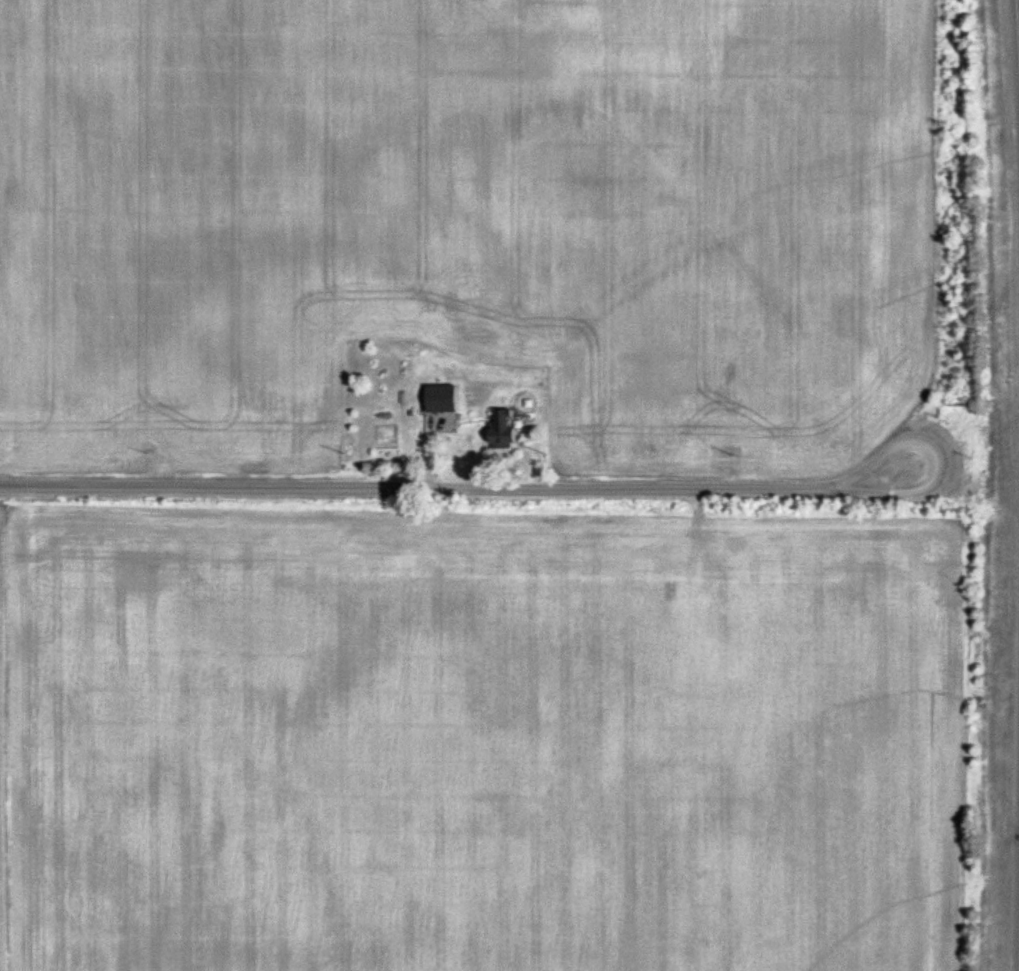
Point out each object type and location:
building: (441, 398)
building: (501, 429)
road: (453, 484)

